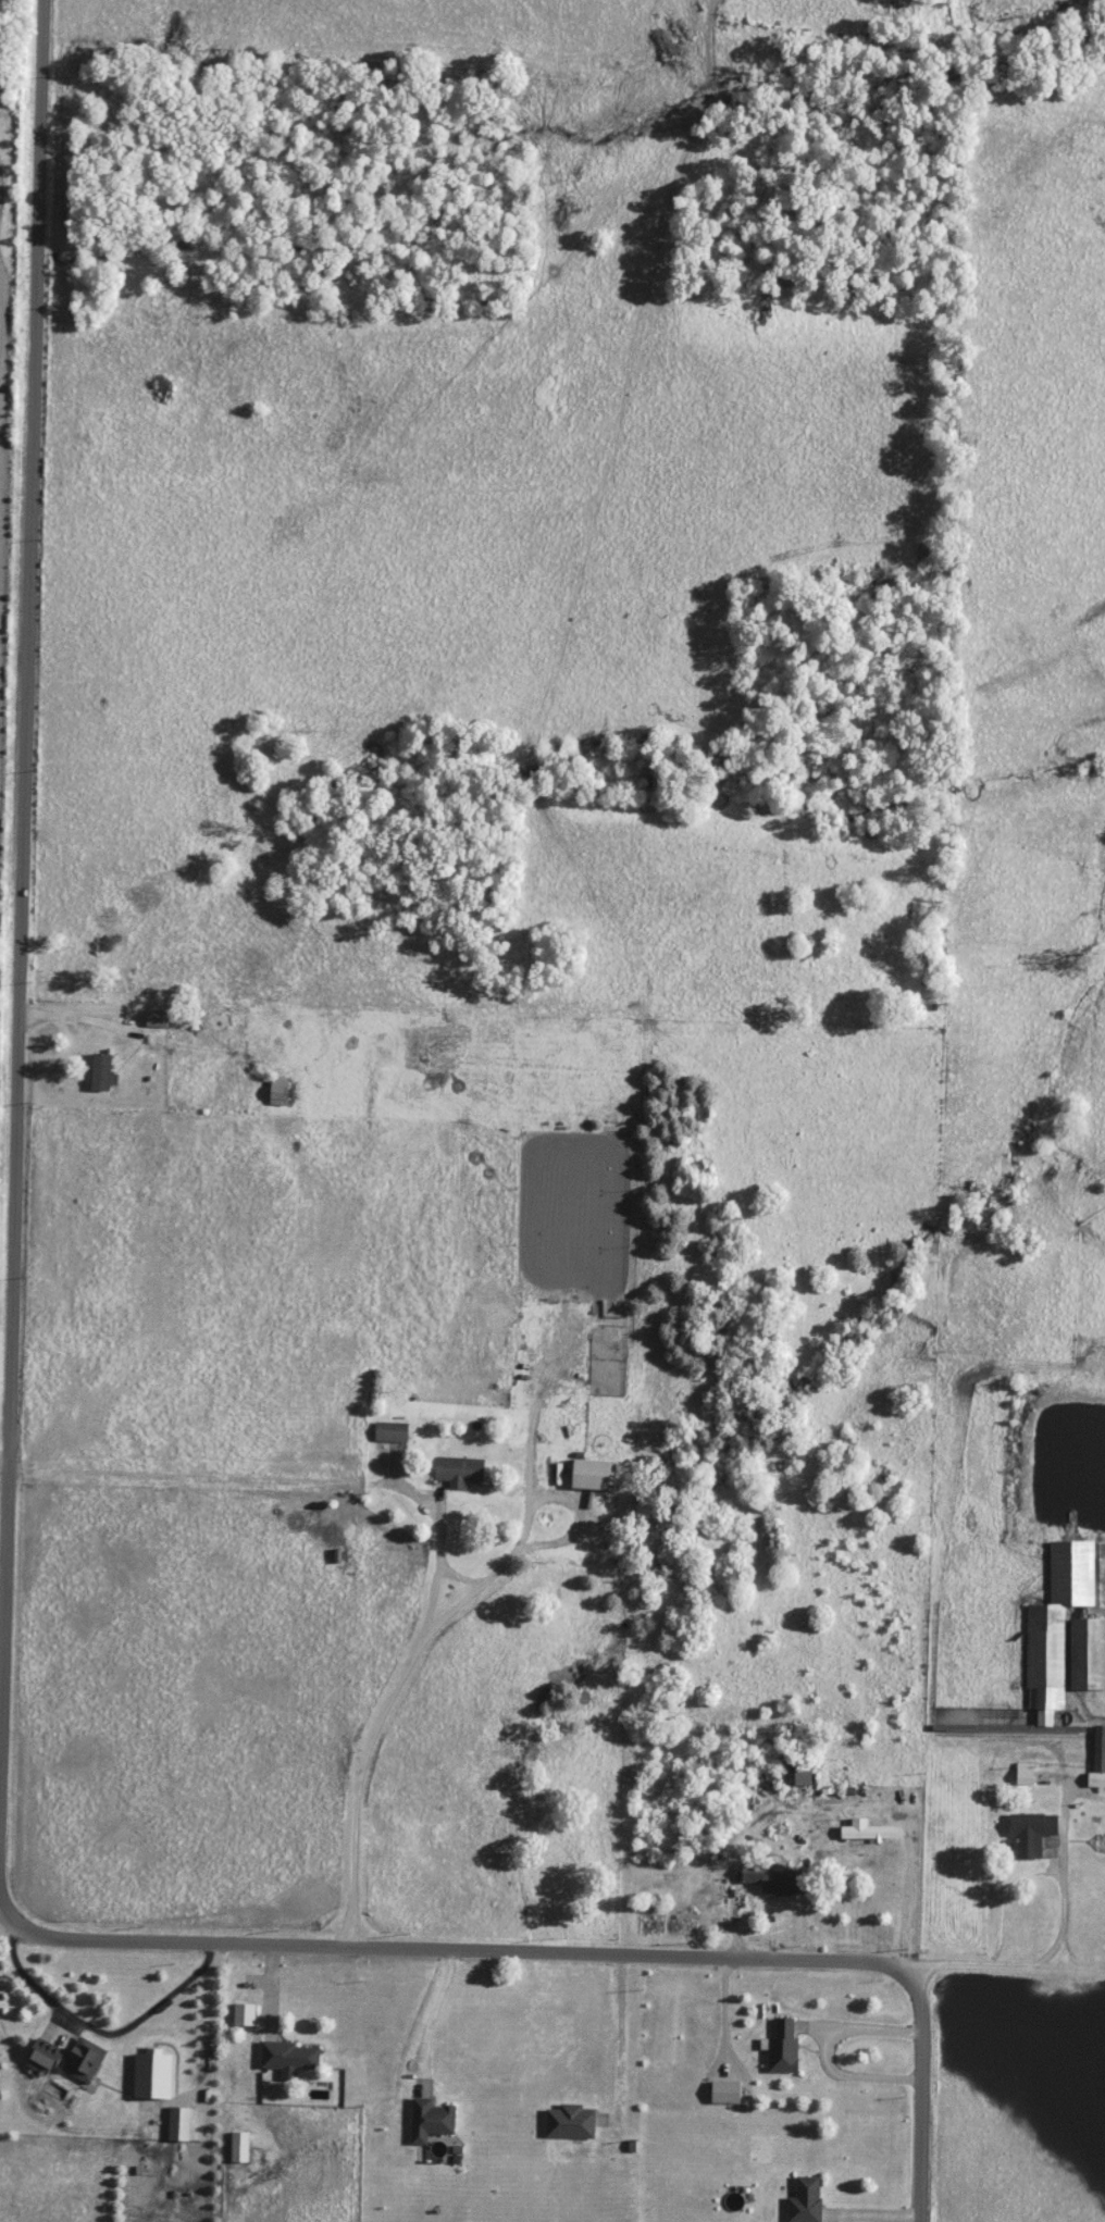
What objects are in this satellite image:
road: (24, 917)
building: (152, 1019)
road: (113, 1020)
building: (96, 1072)
building: (275, 1093)
building: (387, 1432)
building: (455, 1472)
building: (587, 1476)
road: (238, 1480)
road: (481, 1576)
building: (1084, 1642)
road: (374, 1722)
building: (1094, 1758)
building: (792, 1771)
building: (1020, 1773)
building: (862, 1829)
building: (1025, 1832)
road: (1041, 1874)
building: (765, 1878)
road: (3, 1900)
road: (462, 1951)
road: (1007, 1966)
road: (39, 1987)
building: (238, 2014)
road: (433, 2026)
building: (778, 2046)
building: (37, 2053)
building: (280, 2055)
building: (78, 2060)
building: (146, 2074)
building: (720, 2093)
road: (922, 2100)
building: (424, 2120)
building: (566, 2122)
building: (173, 2123)
building: (234, 2147)
building: (802, 2200)

